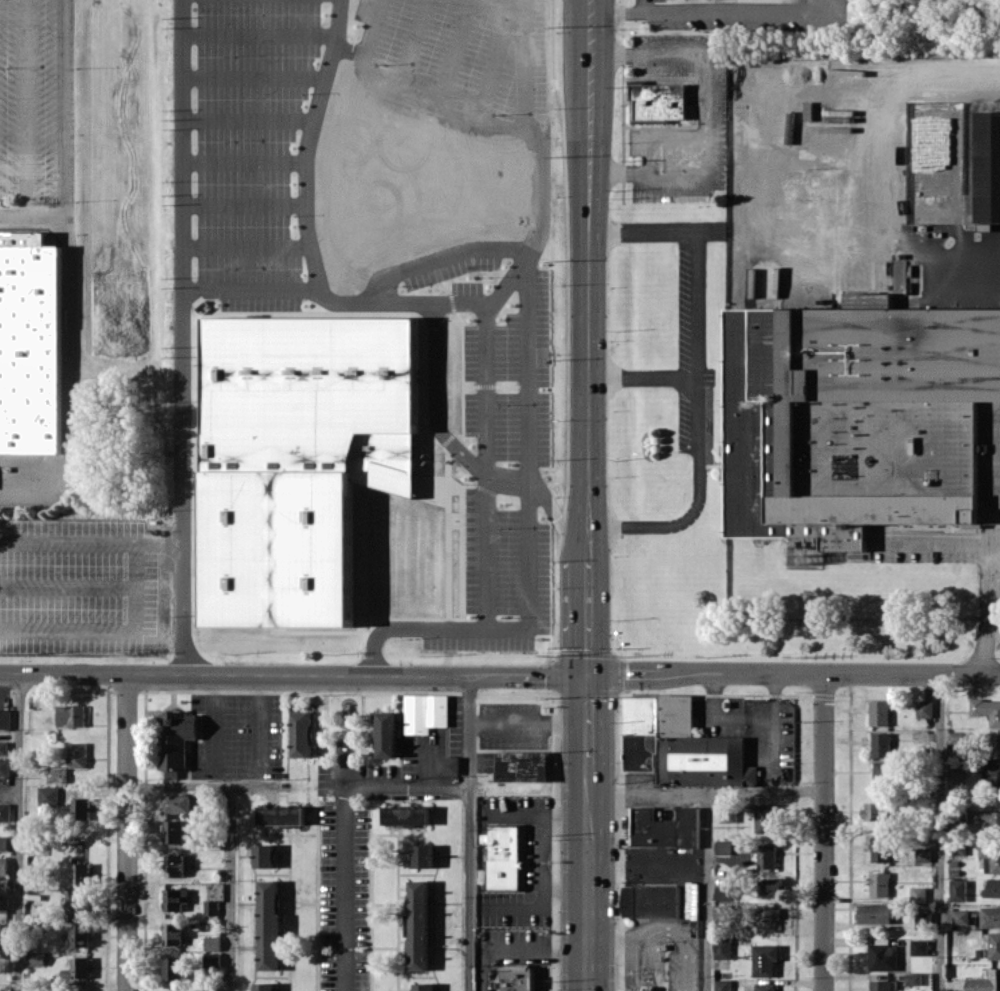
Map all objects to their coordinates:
road: (620, 6)
road: (726, 6)
road: (582, 15)
road: (590, 15)
road: (336, 25)
road: (524, 39)
road: (411, 48)
road: (452, 54)
road: (492, 64)
road: (895, 86)
building: (656, 101)
road: (24, 108)
road: (64, 108)
road: (703, 110)
building: (988, 166)
road: (302, 216)
road: (31, 217)
road: (694, 256)
road: (441, 258)
road: (181, 264)
building: (899, 270)
road: (590, 279)
road: (249, 289)
road: (460, 301)
road: (527, 324)
building: (30, 345)
road: (481, 353)
road: (69, 380)
road: (433, 403)
building: (857, 417)
road: (694, 447)
building: (298, 458)
road: (542, 500)
road: (589, 541)
road: (89, 543)
road: (939, 545)
road: (481, 551)
road: (179, 602)
road: (982, 611)
road: (588, 615)
road: (105, 632)
road: (370, 654)
road: (794, 675)
road: (293, 676)
traffic signals: (588, 676)
road: (588, 701)
building: (924, 708)
building: (987, 710)
building: (425, 712)
building: (879, 712)
building: (70, 715)
road: (745, 717)
building: (5, 718)
road: (217, 725)
road: (260, 725)
road: (529, 725)
building: (301, 734)
building: (387, 734)
building: (956, 736)
building: (176, 740)
building: (881, 744)
building: (680, 745)
building: (994, 745)
building: (3, 747)
building: (77, 754)
building: (448, 765)
building: (522, 765)
building: (4, 767)
building: (956, 770)
building: (57, 774)
building: (884, 774)
building: (991, 774)
road: (588, 777)
road: (204, 786)
road: (408, 788)
road: (706, 790)
building: (48, 796)
building: (177, 803)
building: (81, 808)
building: (4, 811)
building: (875, 811)
building: (282, 815)
building: (406, 815)
building: (765, 818)
building: (988, 821)
building: (665, 828)
building: (173, 831)
road: (19, 832)
road: (127, 832)
road: (824, 833)
road: (941, 833)
road: (469, 834)
building: (3, 842)
building: (723, 847)
building: (36, 848)
building: (881, 849)
building: (924, 854)
building: (265, 855)
building: (424, 855)
building: (766, 855)
building: (505, 857)
building: (990, 857)
building: (174, 865)
building: (3, 866)
road: (345, 872)
building: (81, 873)
building: (879, 884)
building: (771, 887)
road: (230, 888)
building: (992, 888)
road: (708, 890)
building: (958, 890)
building: (725, 892)
building: (918, 893)
building: (175, 898)
building: (651, 901)
building: (4, 904)
building: (78, 904)
building: (211, 907)
road: (588, 909)
building: (723, 911)
building: (875, 913)
building: (961, 916)
building: (991, 916)
building: (768, 919)
building: (924, 919)
building: (270, 923)
building: (418, 925)
building: (5, 931)
building: (172, 933)
building: (80, 935)
building: (213, 943)
building: (995, 945)
building: (920, 946)
building: (723, 948)
building: (883, 955)
road: (521, 956)
building: (36, 959)
building: (765, 959)
building: (212, 960)
building: (78, 968)
building: (173, 968)
building: (518, 978)
building: (914, 978)
building: (985, 982)
building: (723, 985)
building: (264, 986)
building: (424, 986)
building: (766, 986)
building: (5, 989)
building: (214, 990)

